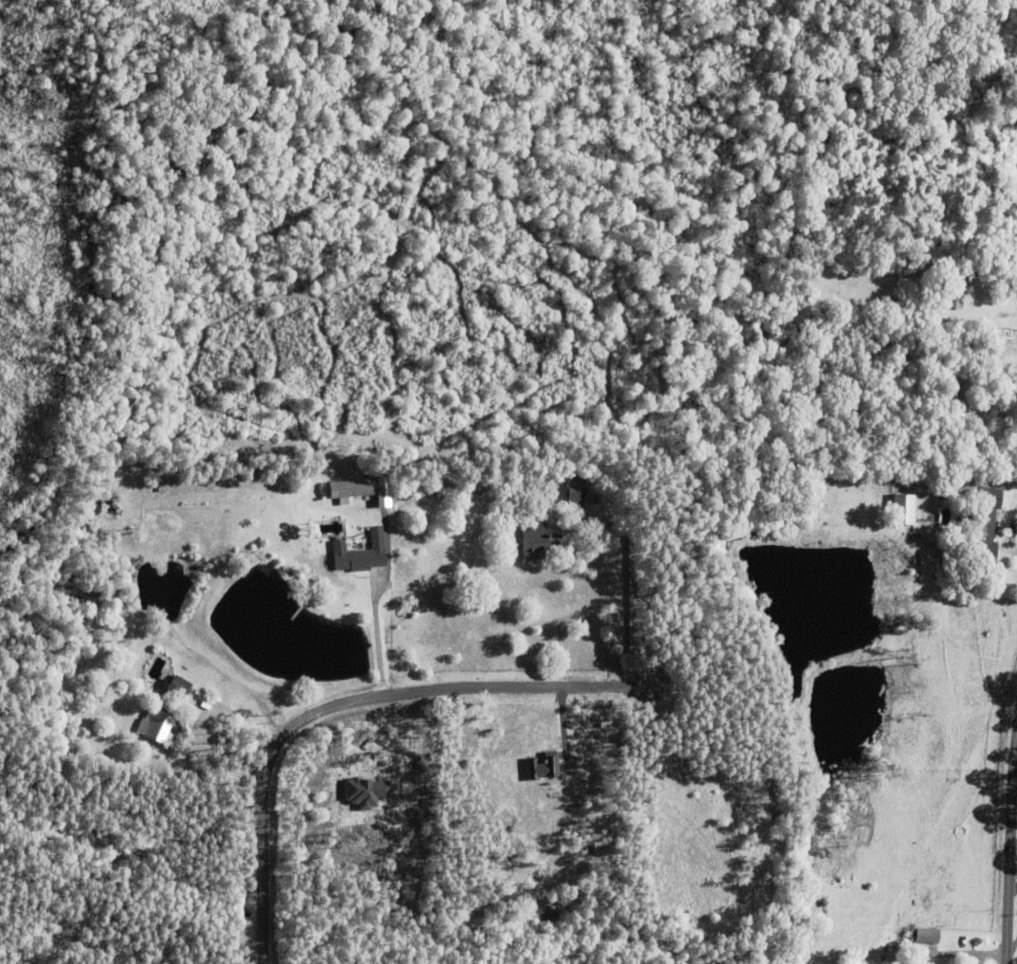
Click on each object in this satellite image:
building: (954, 258)
building: (912, 270)
building: (956, 291)
building: (624, 484)
building: (350, 489)
building: (576, 491)
building: (551, 492)
building: (903, 509)
building: (985, 522)
building: (535, 540)
building: (359, 555)
road: (612, 620)
road: (380, 638)
building: (177, 685)
road: (360, 701)
building: (159, 725)
building: (545, 766)
road: (1011, 874)
road: (1014, 892)
building: (925, 936)

